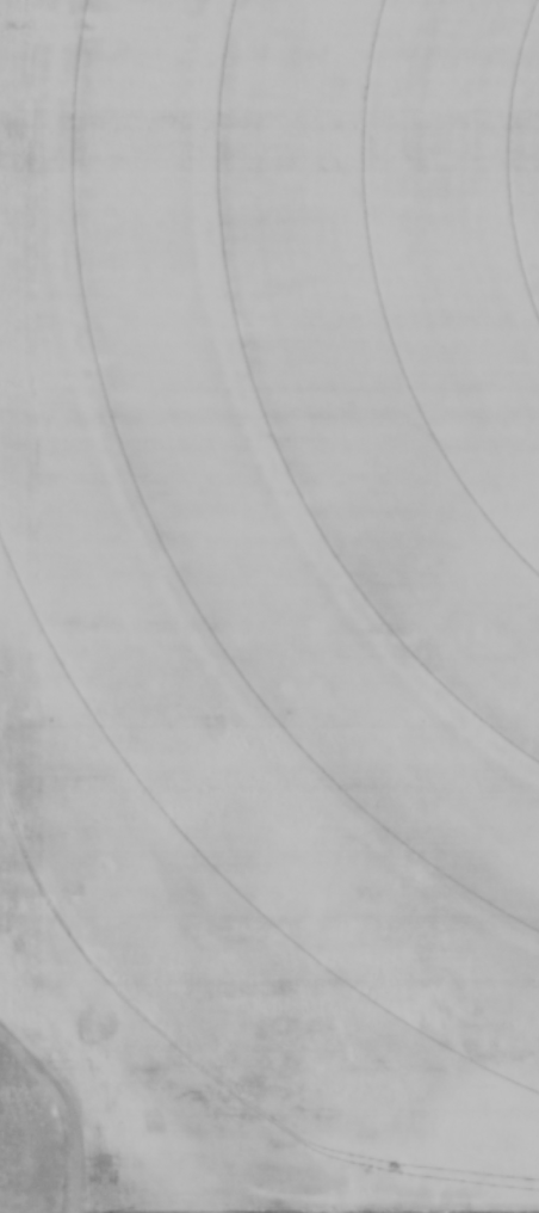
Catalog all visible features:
road: (69, 1128)

